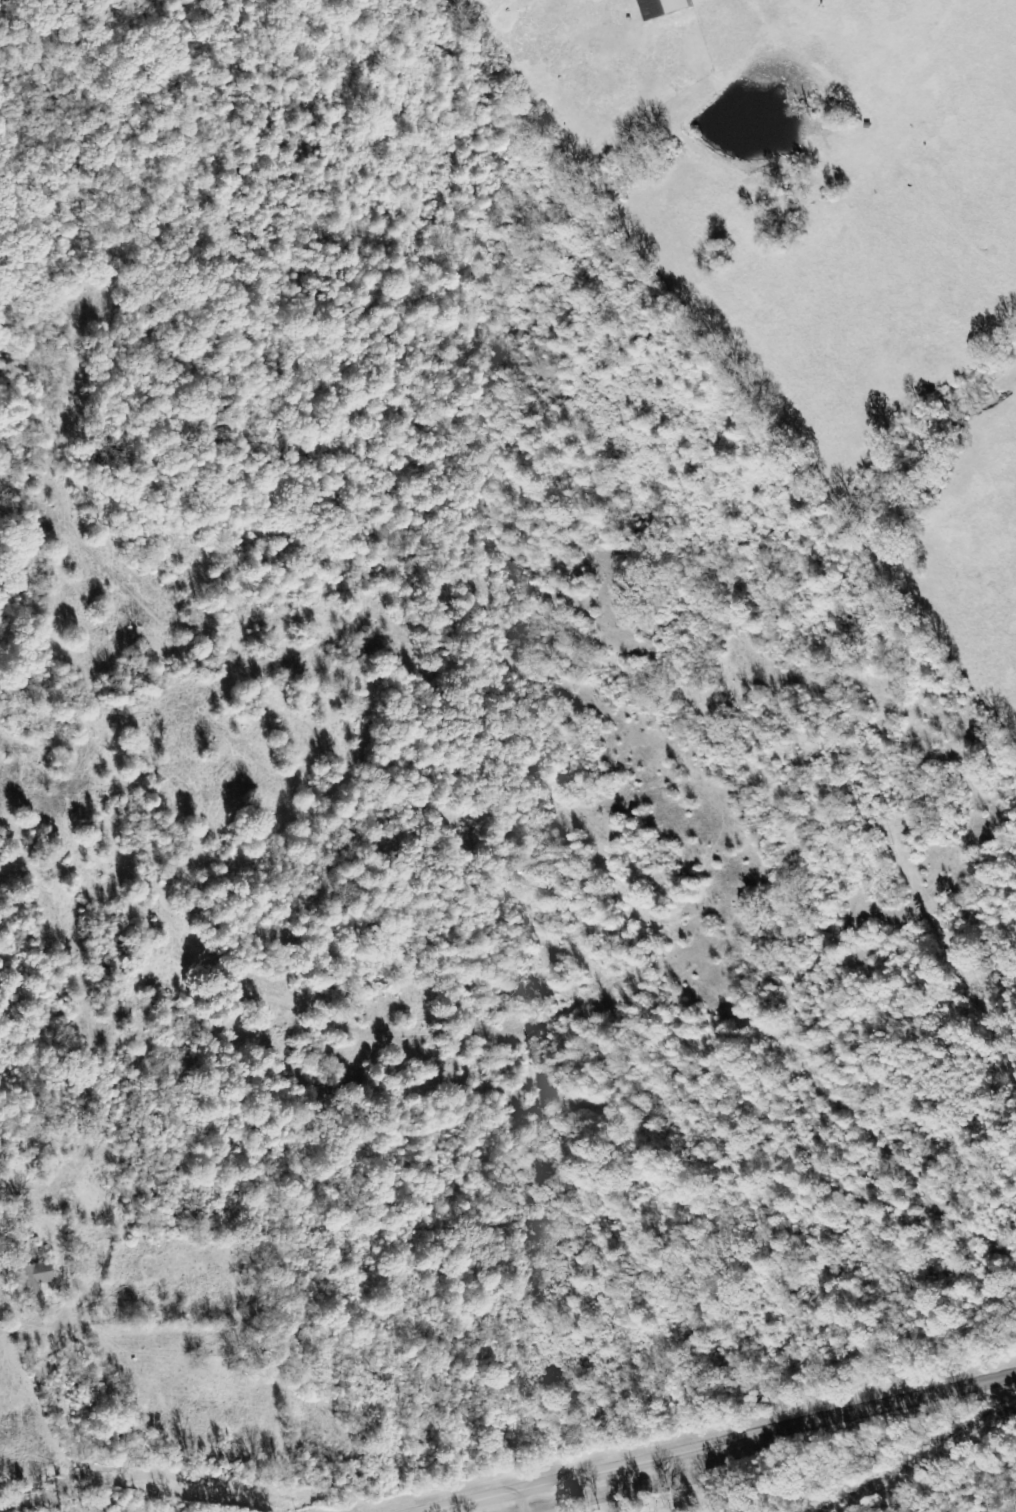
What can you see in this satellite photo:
building: (664, 7)
road: (522, 1191)
building: (36, 1274)
road: (719, 1444)
road: (163, 1464)
park: (674, 1489)

